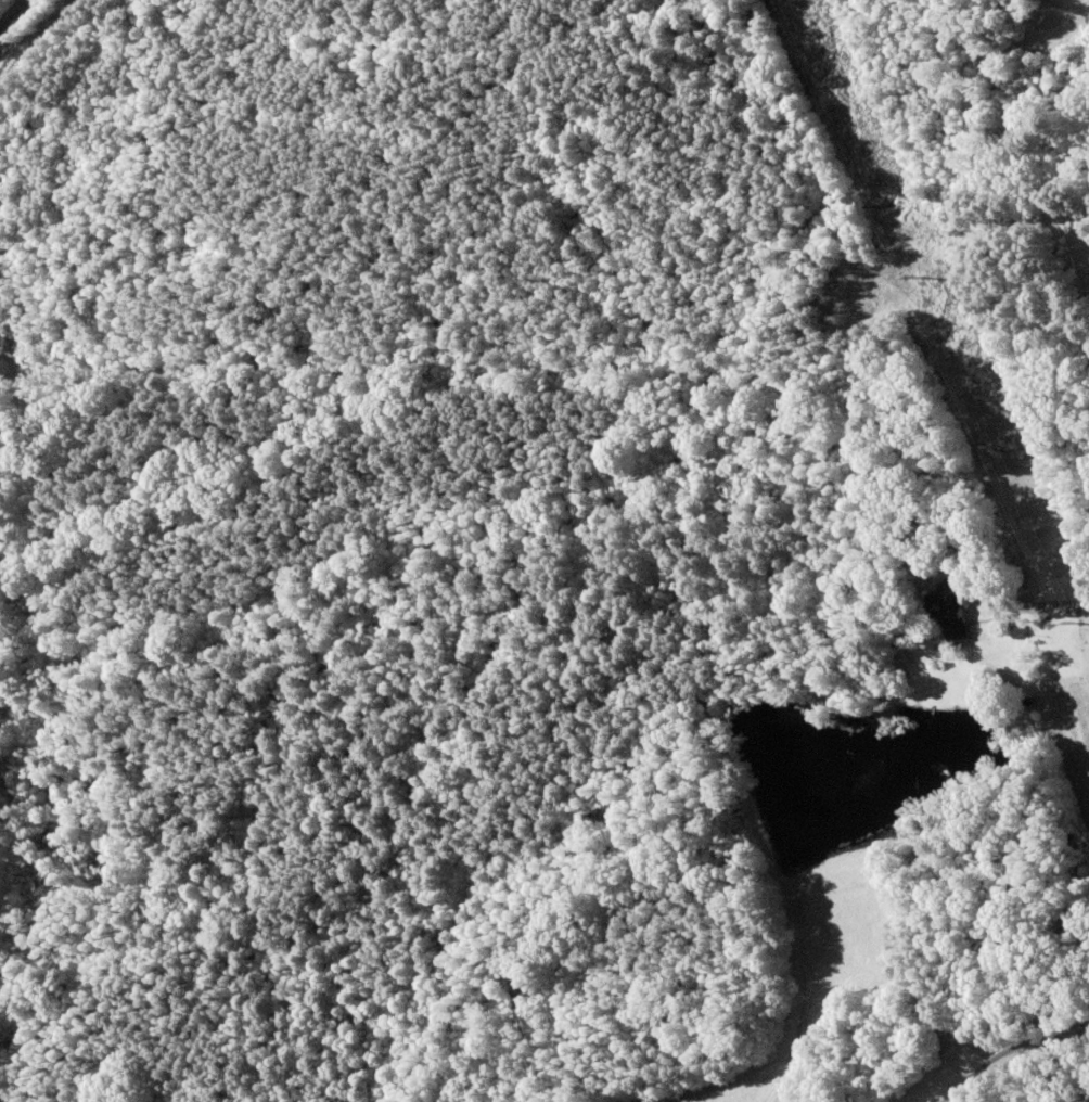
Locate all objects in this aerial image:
building: (946, 612)

